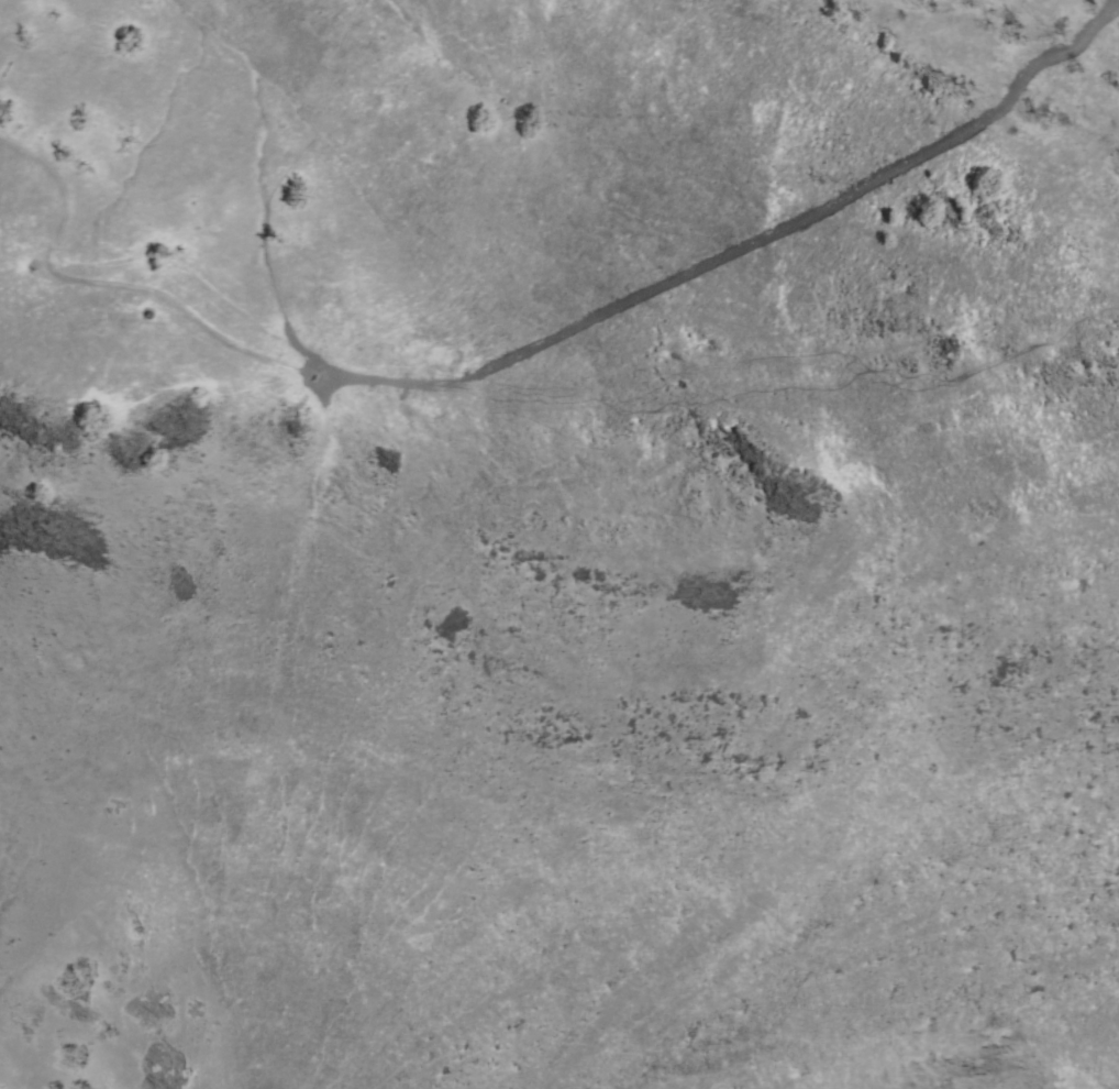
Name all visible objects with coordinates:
road: (92, 287)

